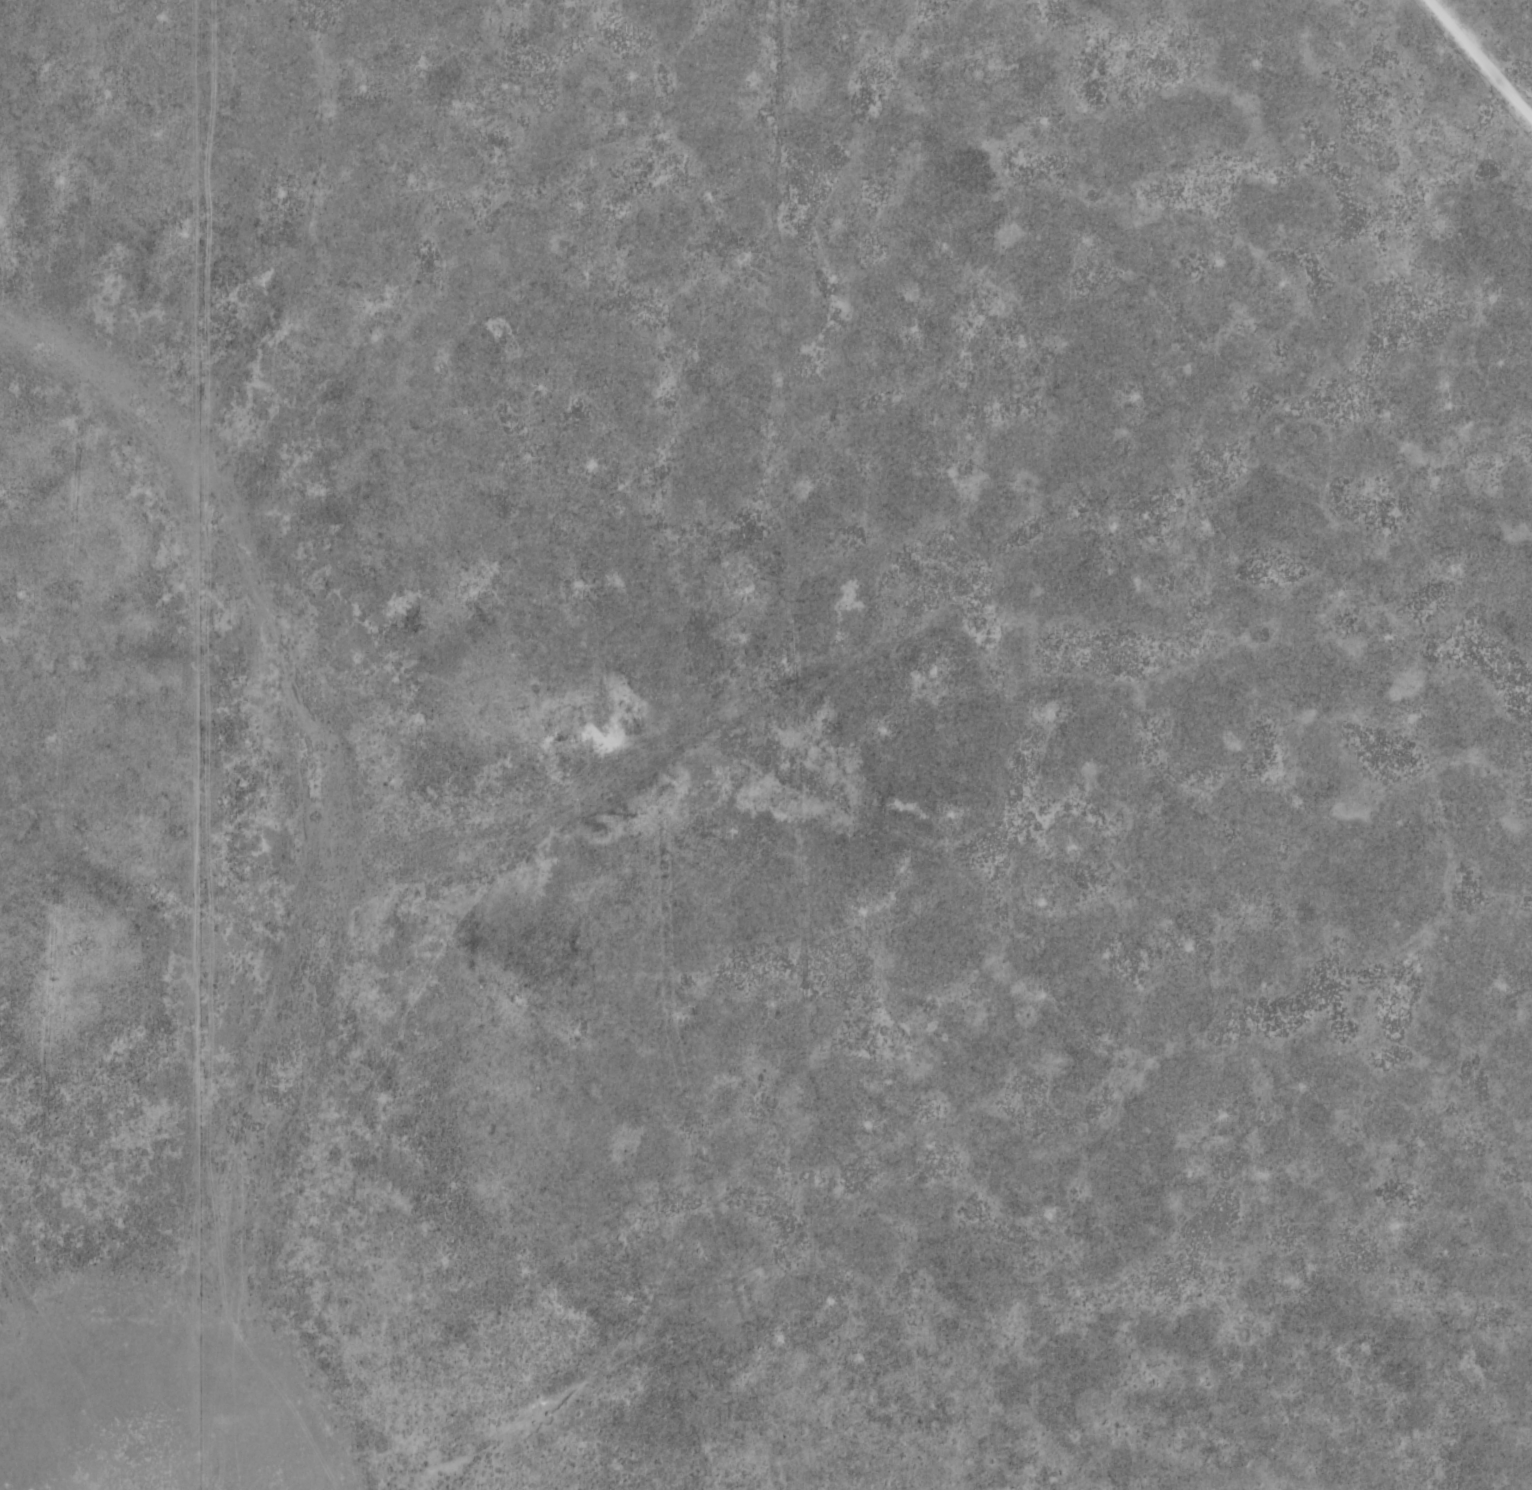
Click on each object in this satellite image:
road: (1479, 59)

